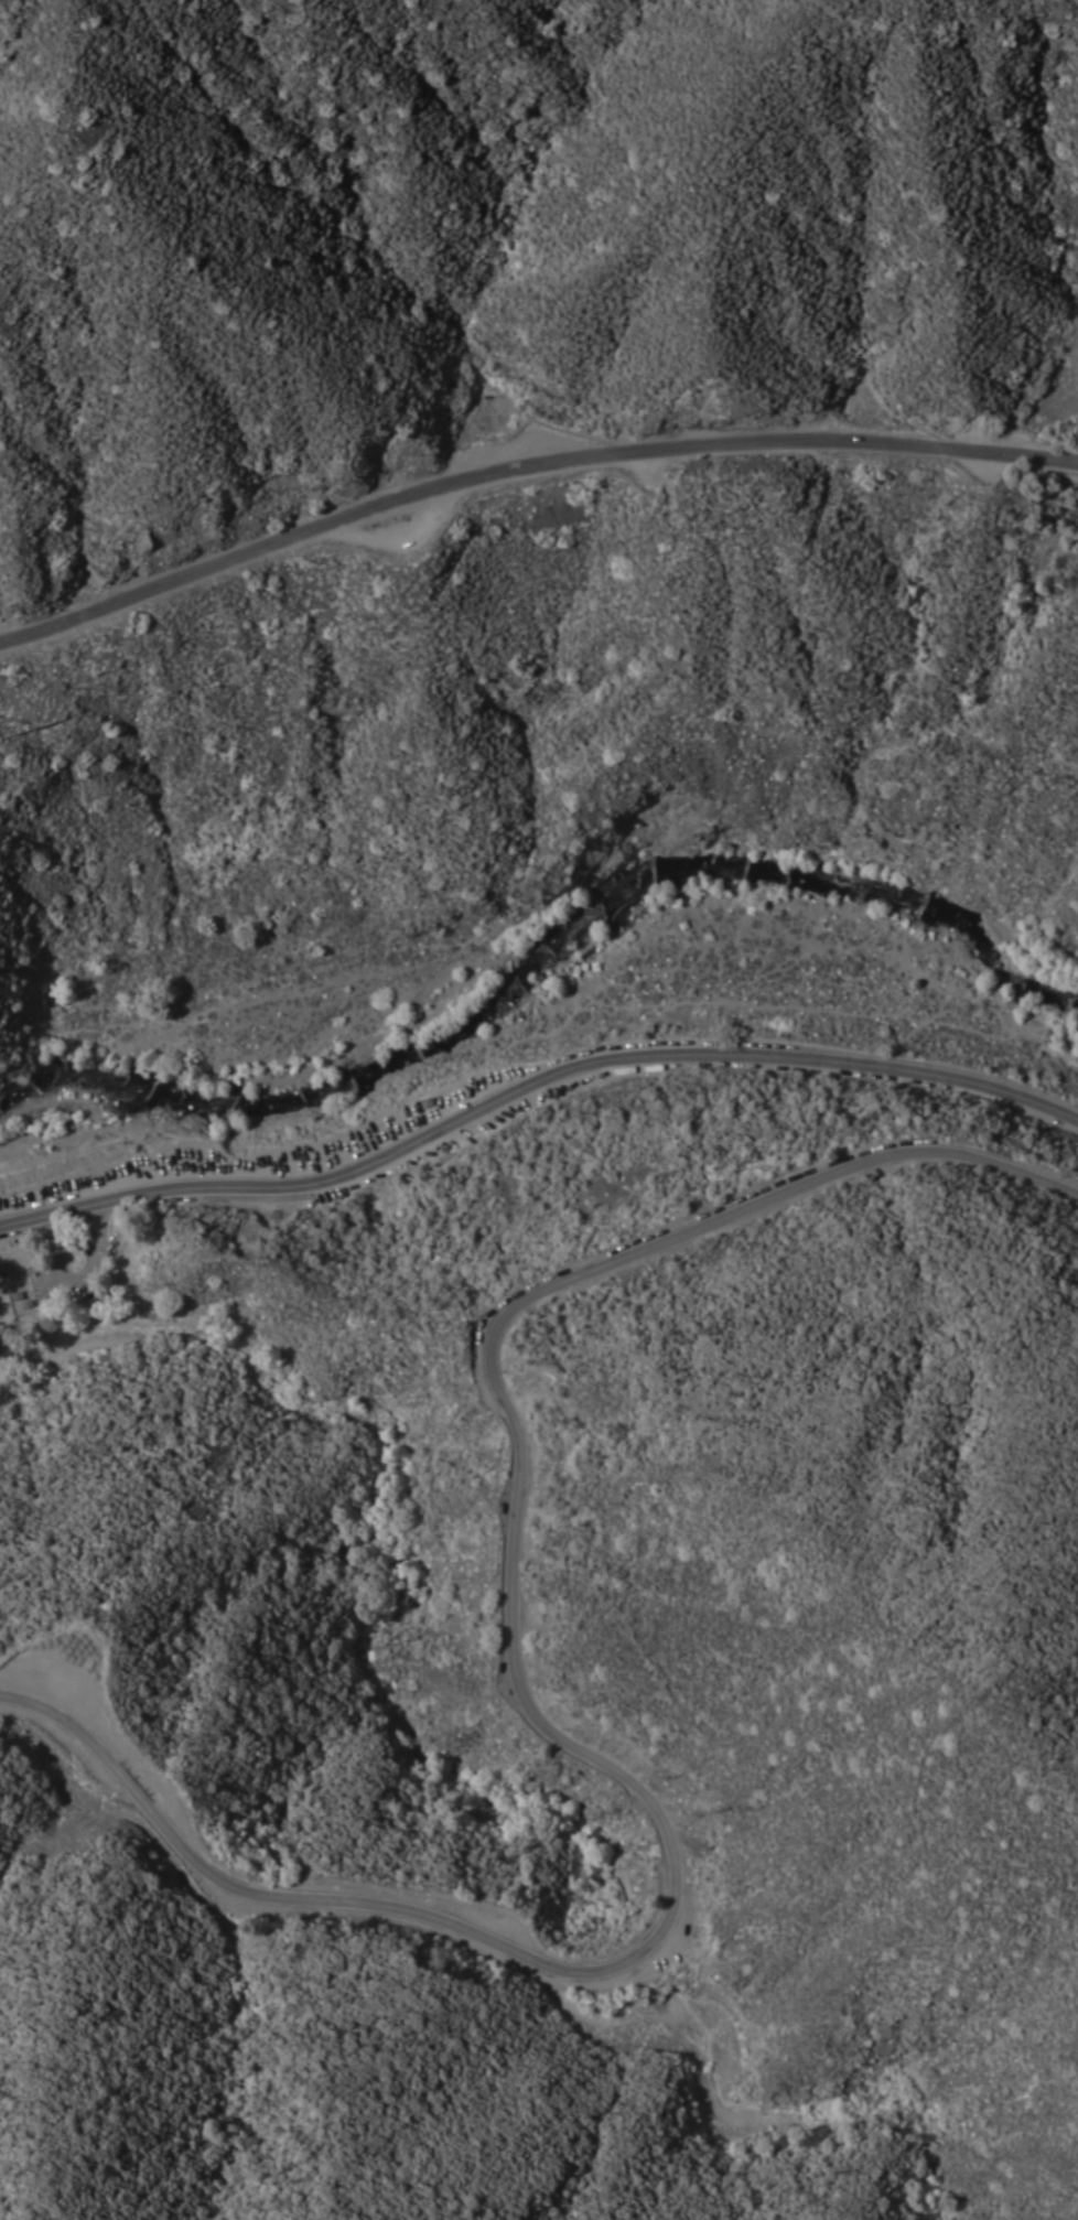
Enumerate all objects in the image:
road: (525, 466)
river: (543, 961)
road: (531, 1082)
parking lot: (270, 1150)
parking lot: (86, 1268)
road: (79, 1283)
parking lot: (65, 1688)
road: (539, 1722)
parking lot: (461, 1920)

